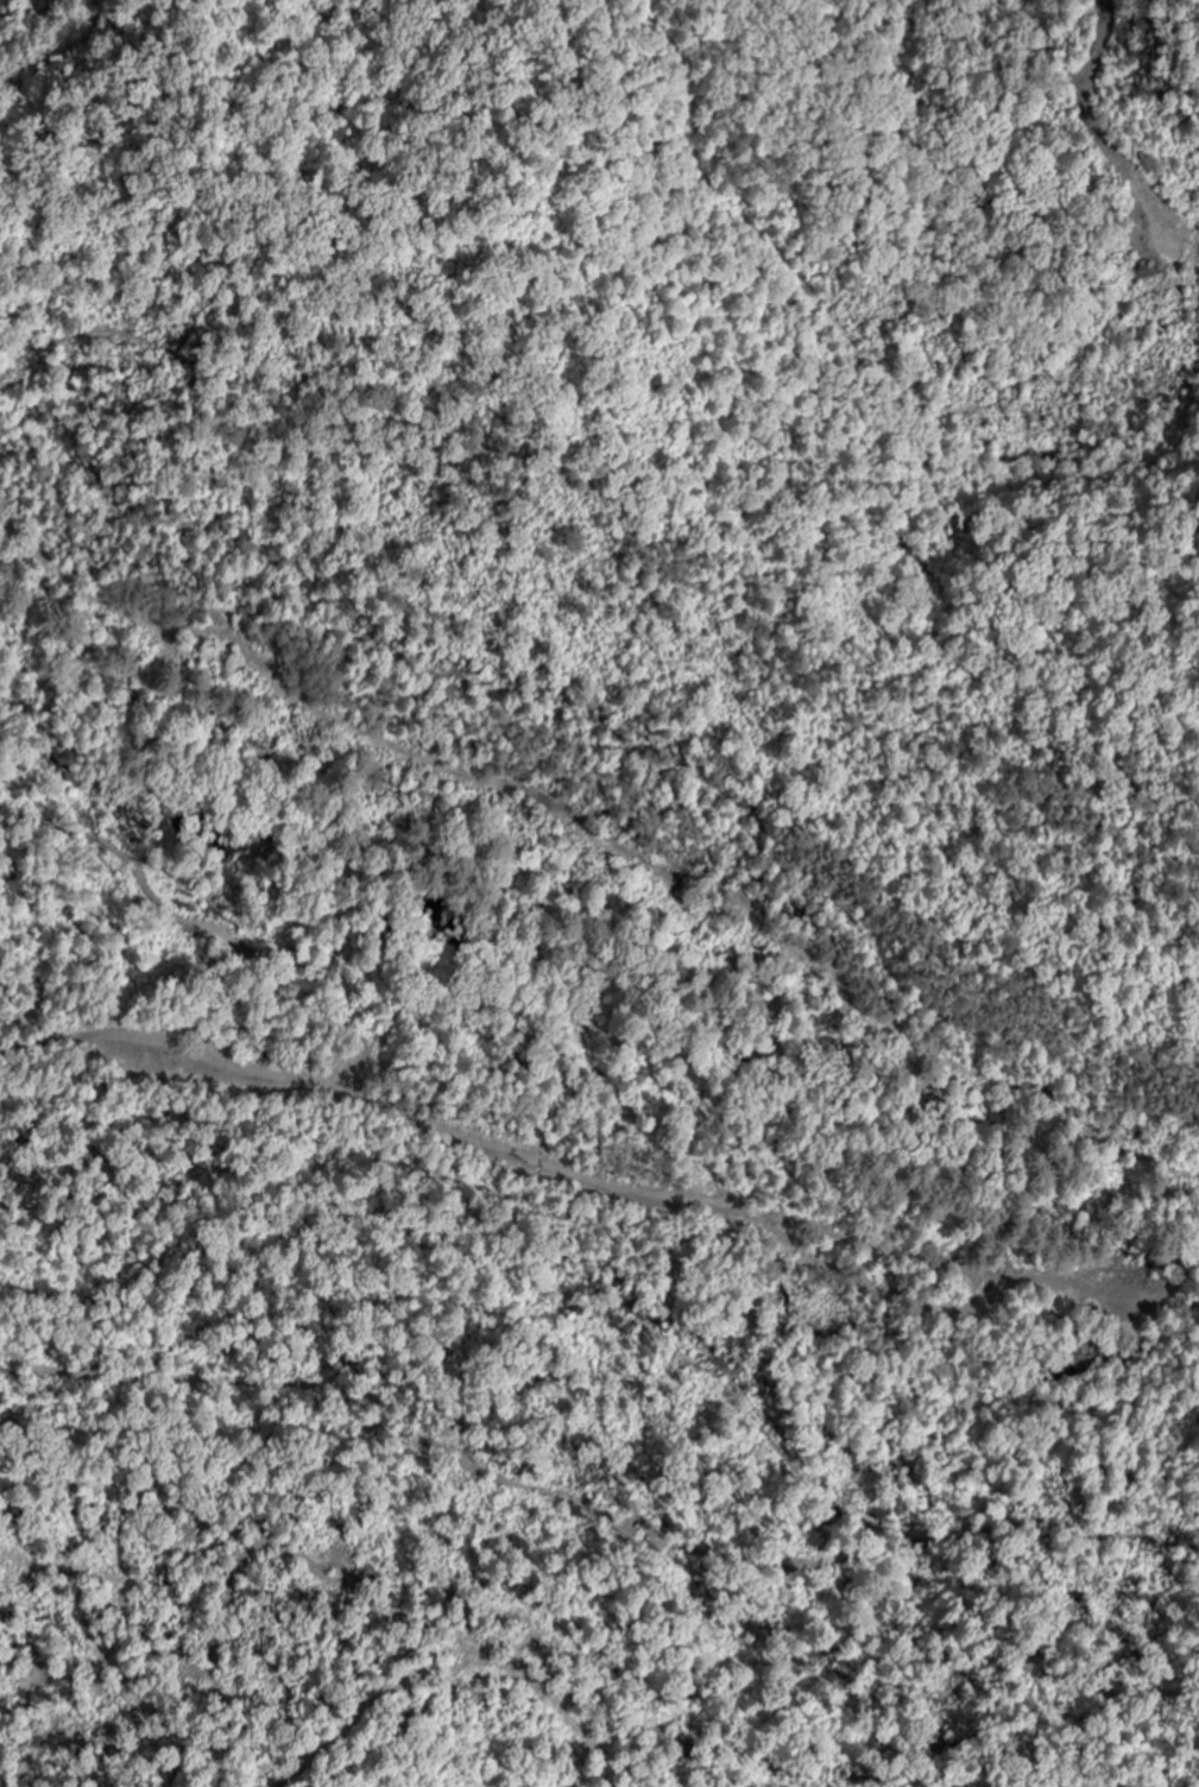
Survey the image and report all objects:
road: (386, 518)

